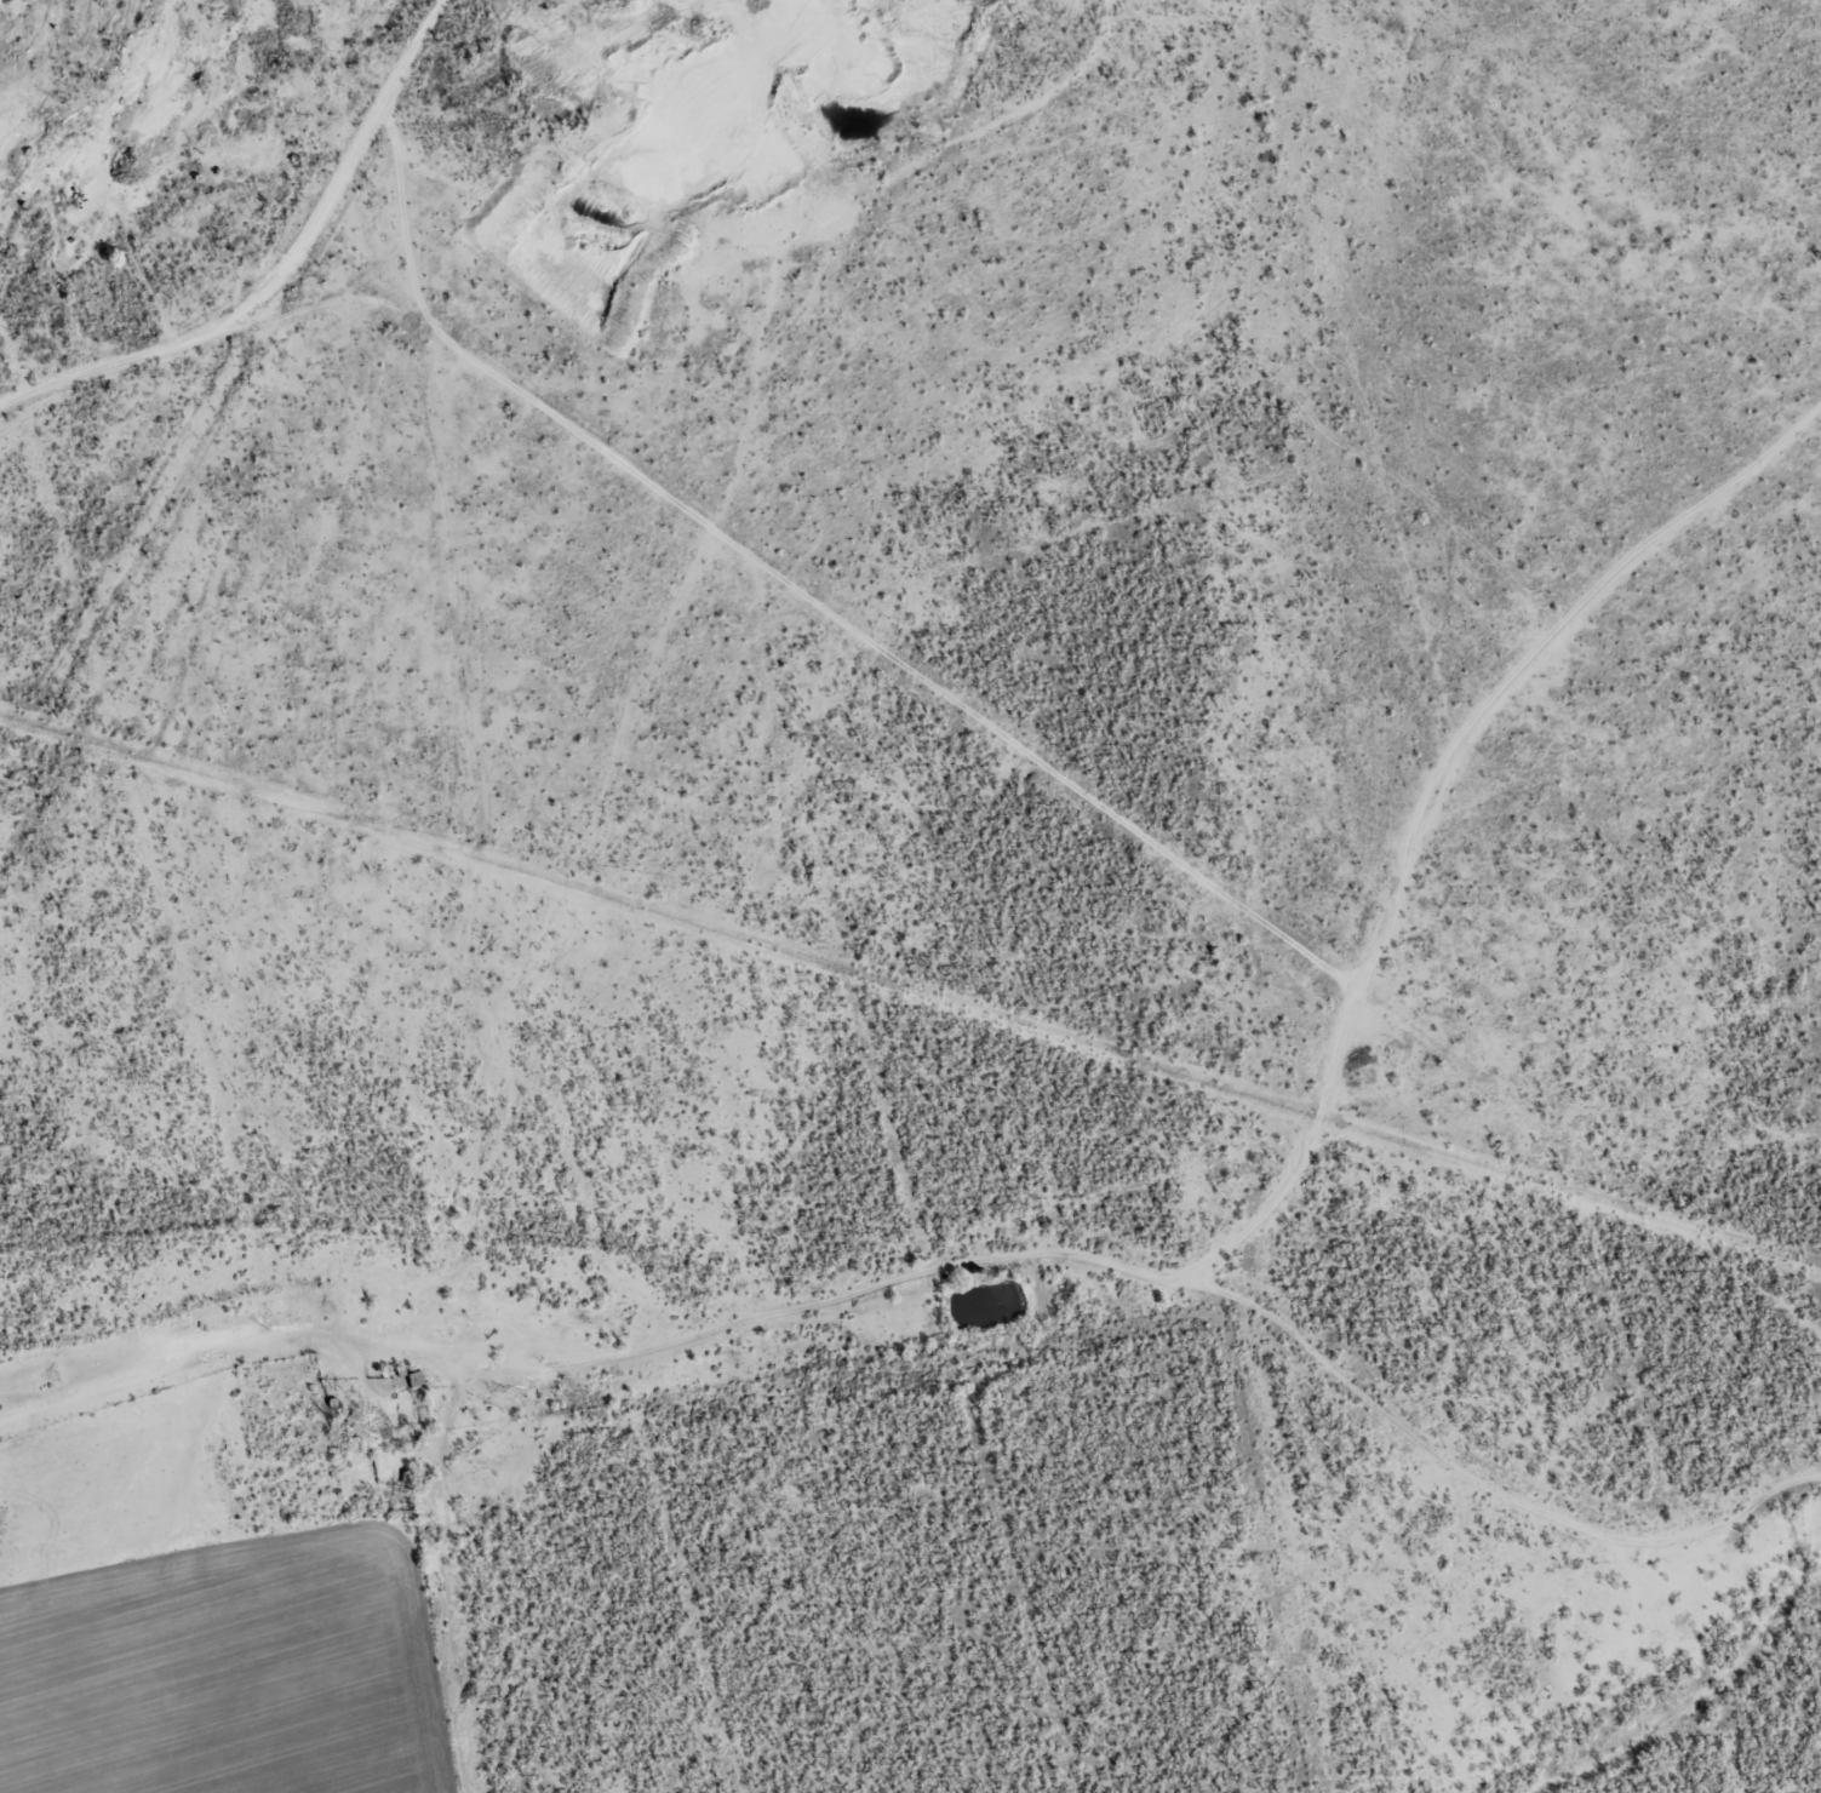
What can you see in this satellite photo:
road: (921, 1334)

